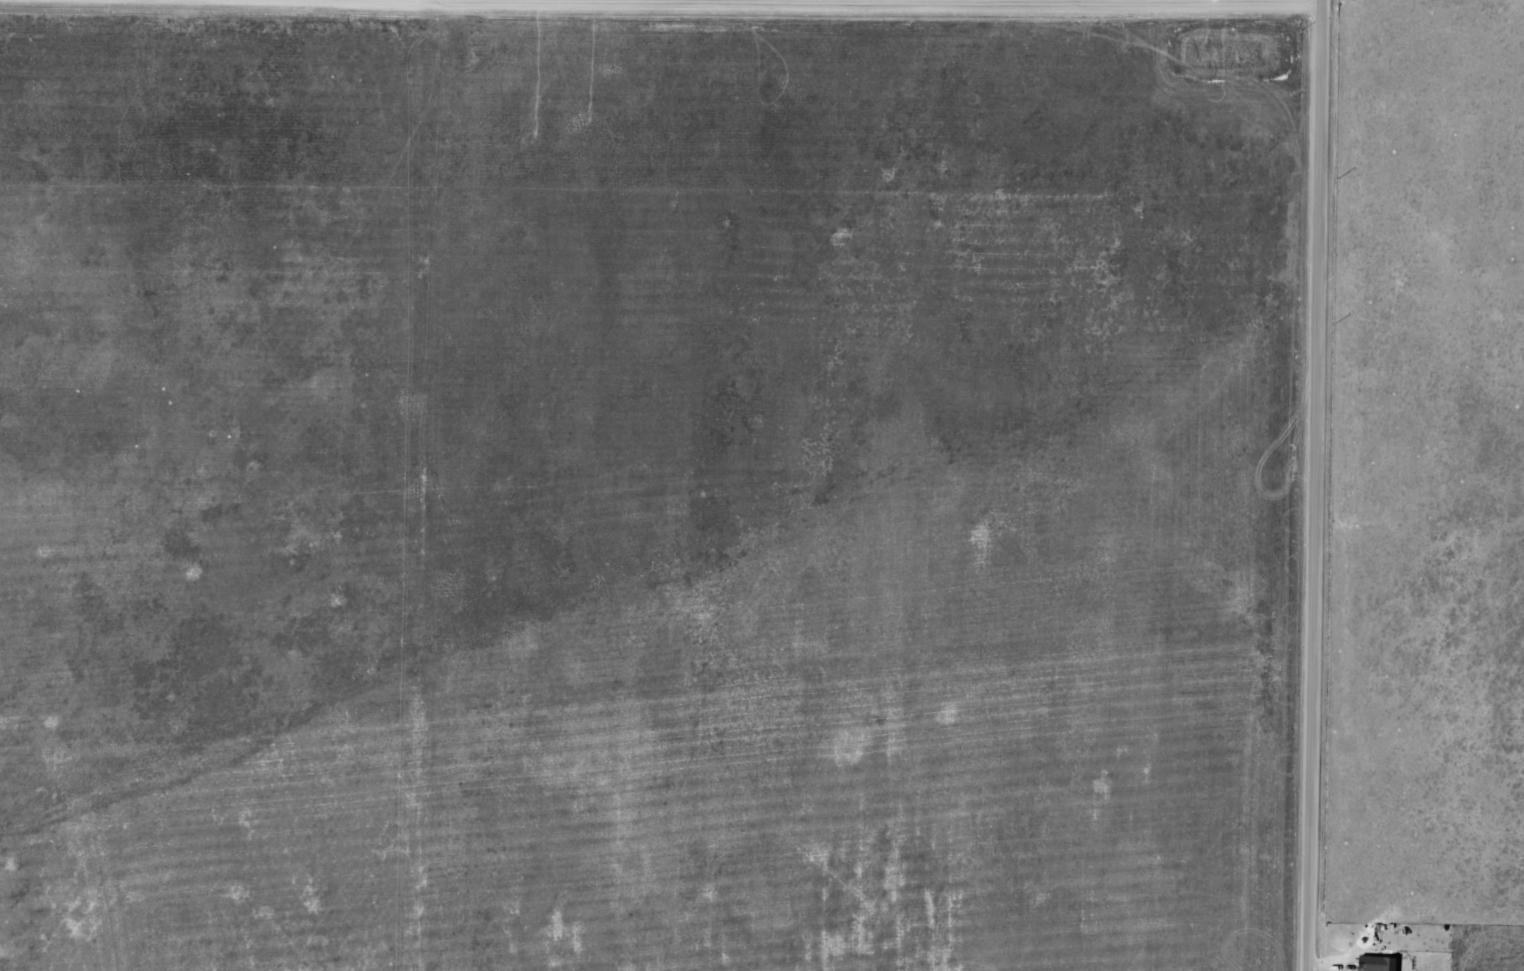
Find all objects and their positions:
road: (1134, 1)
road: (1316, 485)

